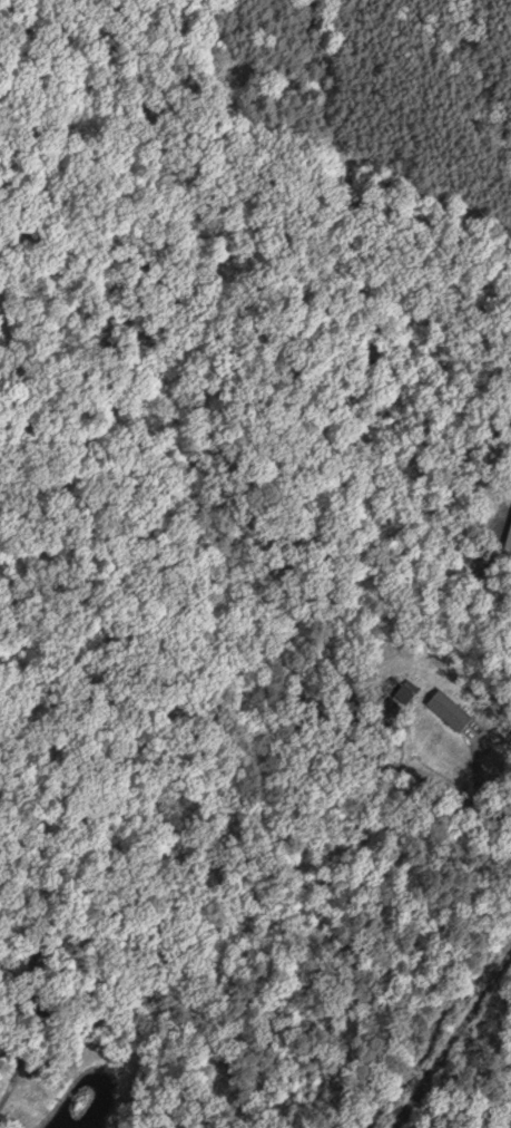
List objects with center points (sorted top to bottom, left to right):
road: (451, 1043)

